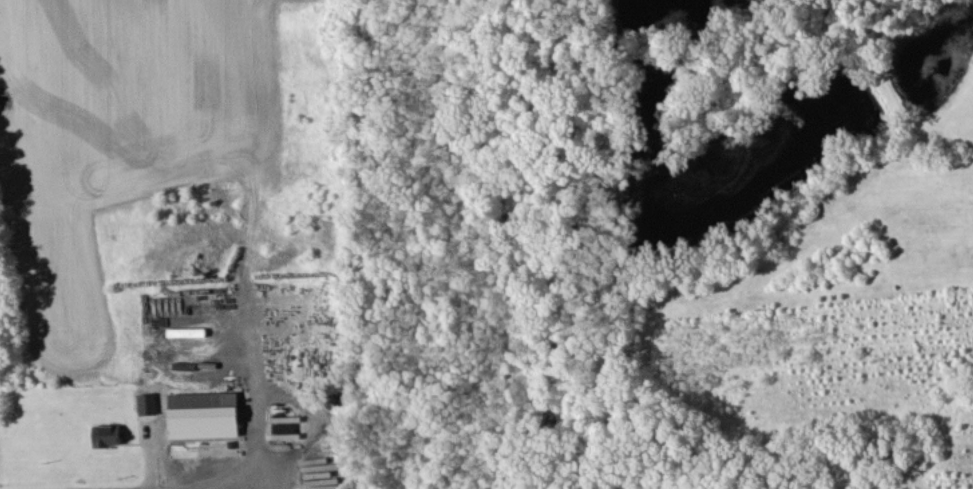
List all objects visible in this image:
building: (147, 403)
building: (202, 414)
building: (284, 427)
building: (107, 435)

